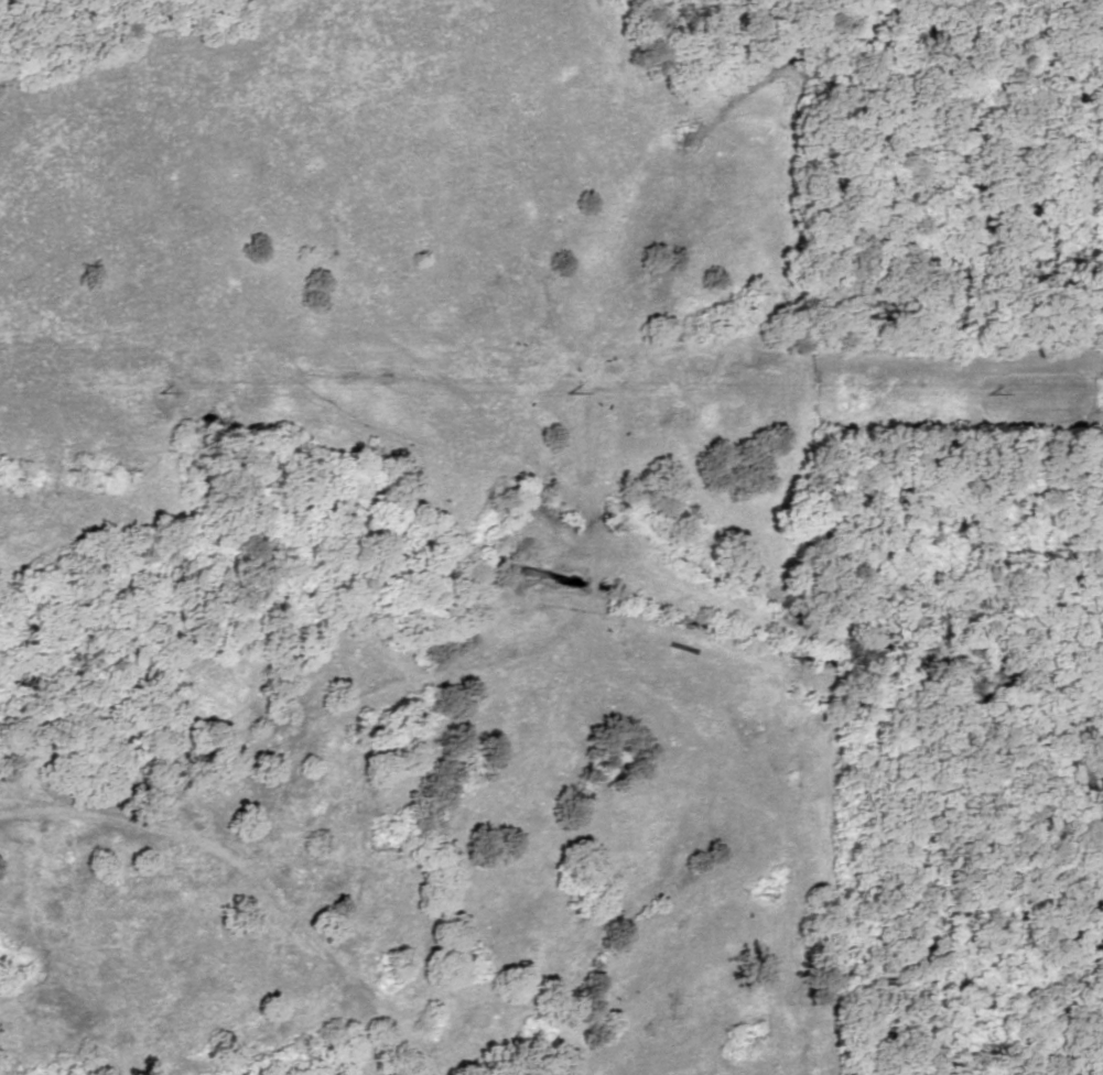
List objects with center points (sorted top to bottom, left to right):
power tower: (163, 393)
power tower: (574, 394)
power tower: (993, 394)

